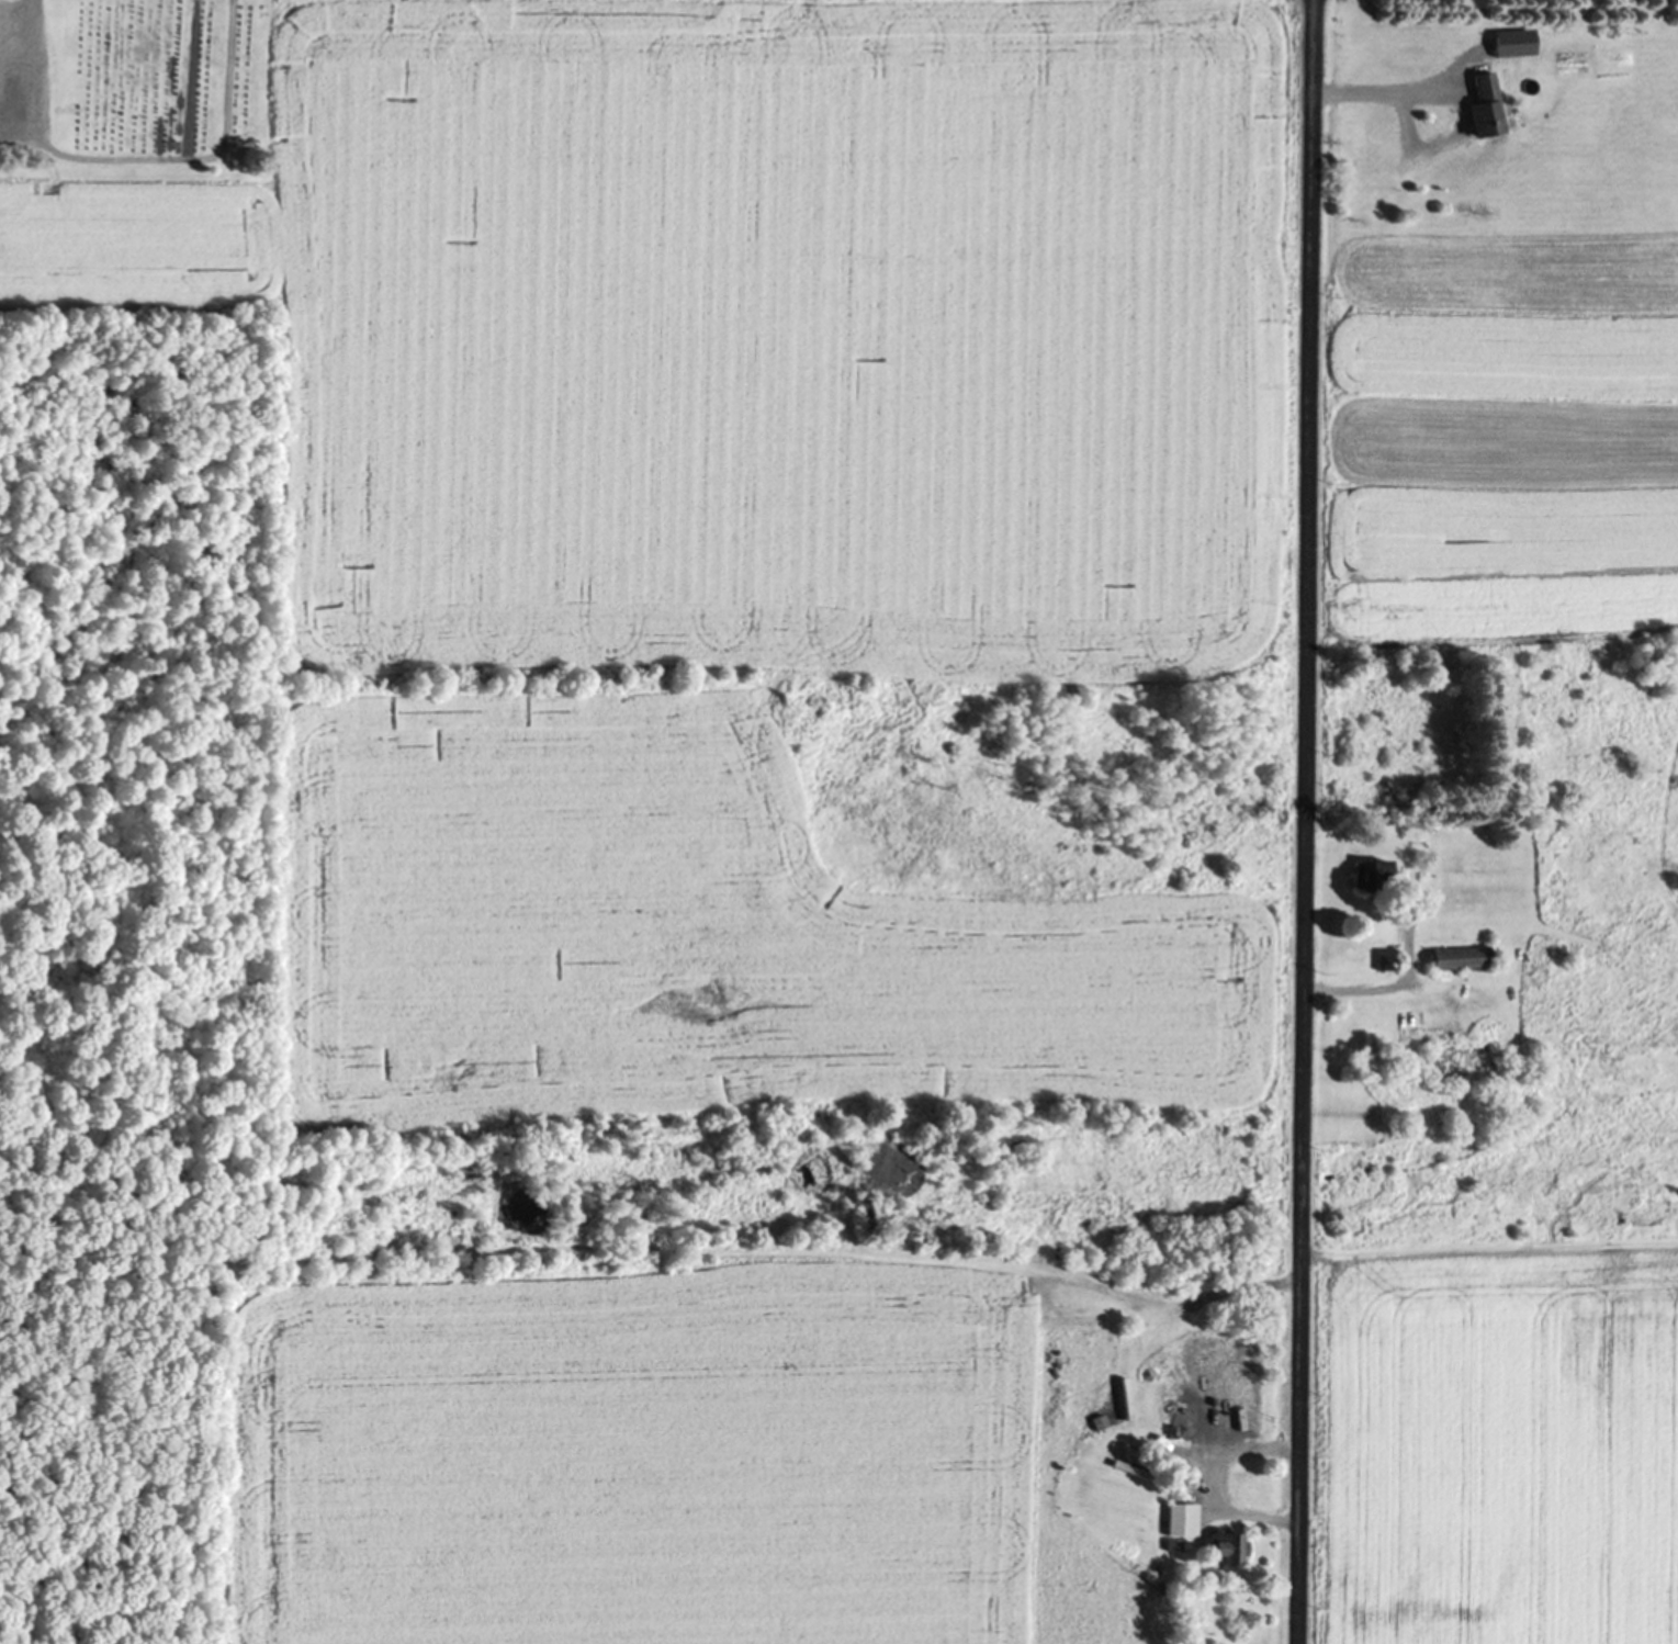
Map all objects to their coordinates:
building: (1512, 45)
building: (1483, 106)
road: (1304, 822)
building: (1374, 877)
building: (1461, 960)
building: (1385, 961)
building: (1464, 1062)
building: (1219, 1441)
building: (1182, 1522)
building: (1228, 1551)

